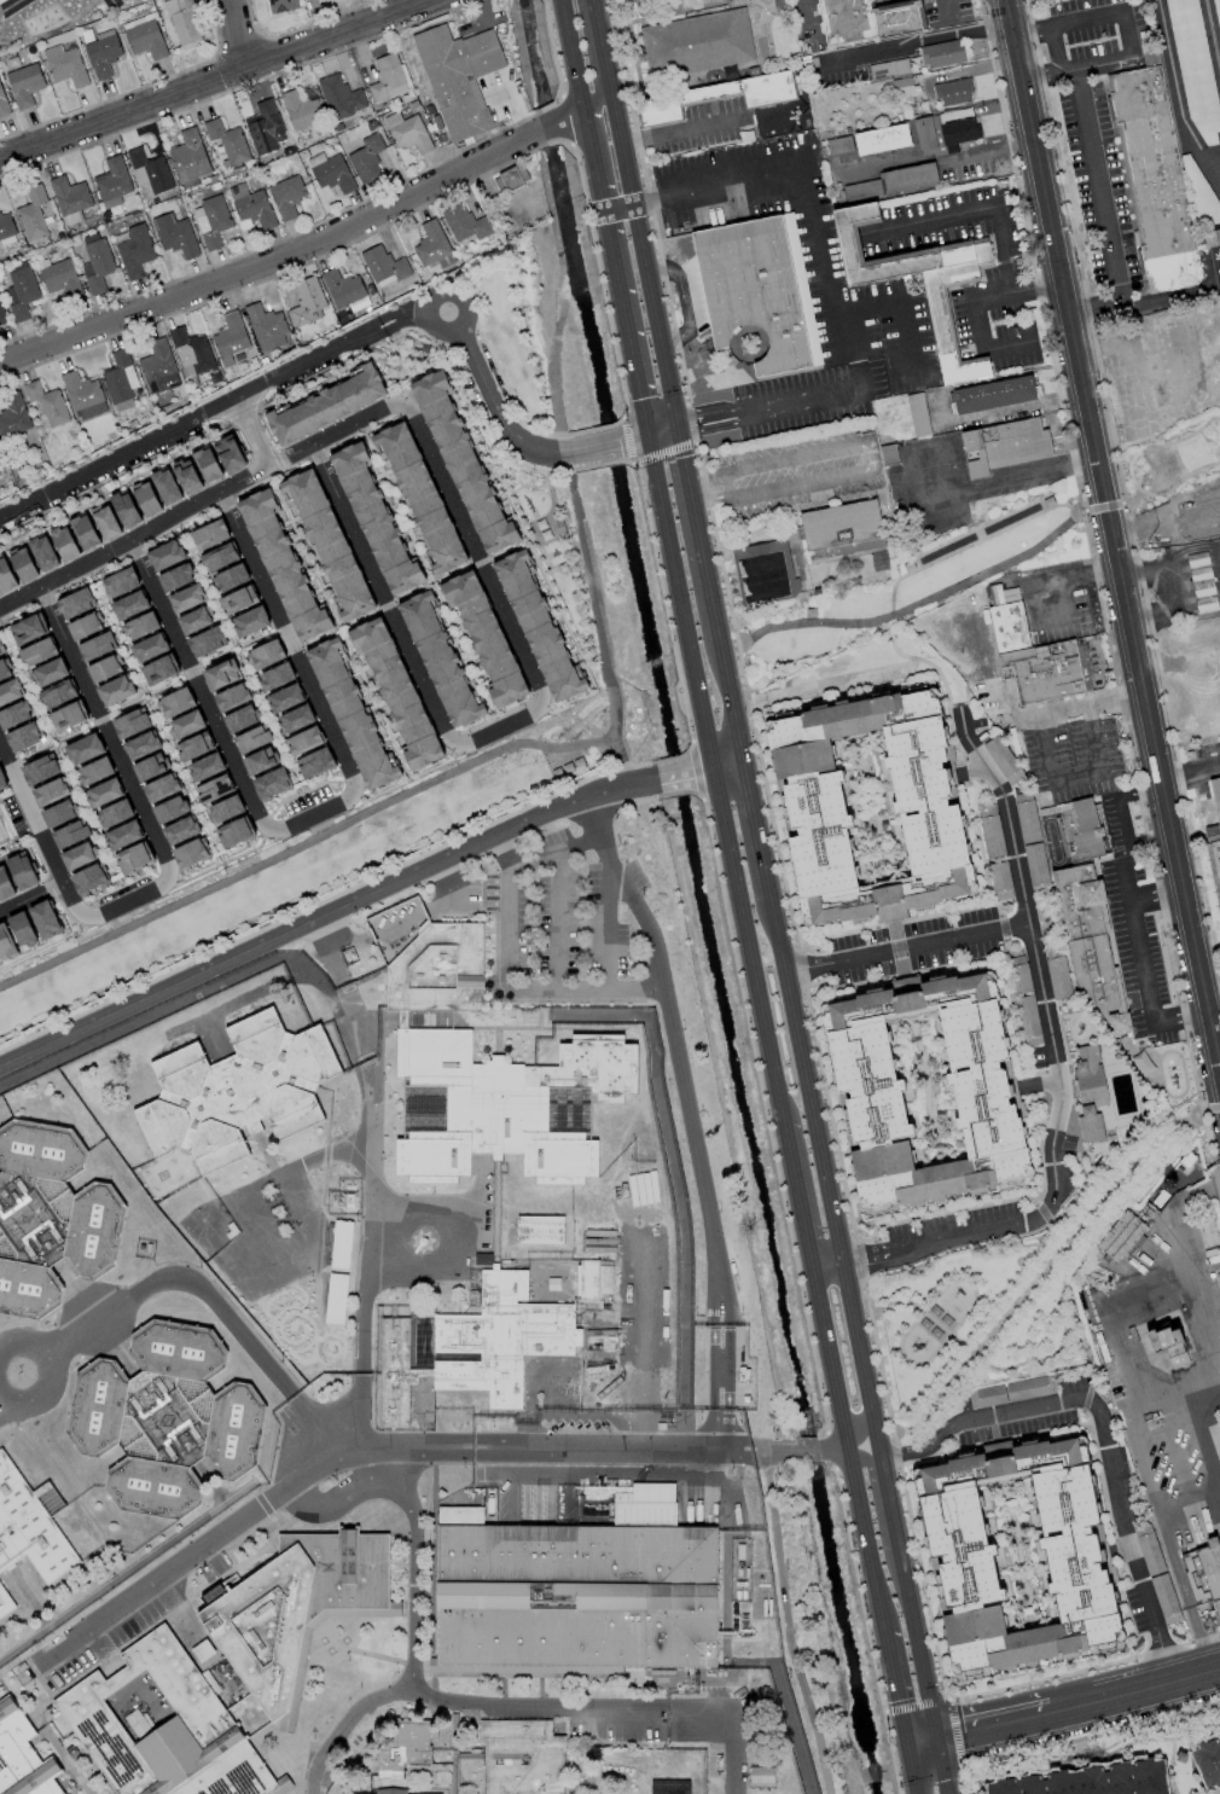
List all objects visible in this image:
road: (6, 4)
road: (112, 5)
building: (280, 6)
road: (383, 8)
road: (951, 8)
building: (1216, 16)
building: (875, 18)
building: (182, 21)
road: (1067, 23)
road: (237, 33)
road: (1128, 34)
building: (144, 36)
road: (1212, 39)
building: (697, 42)
road: (917, 43)
road: (598, 45)
road: (1055, 50)
building: (100, 52)
road: (570, 53)
building: (941, 53)
road: (1096, 64)
building: (64, 65)
building: (888, 69)
building: (1195, 71)
road: (215, 76)
building: (388, 77)
building: (458, 77)
building: (24, 85)
building: (901, 87)
building: (953, 92)
road: (1177, 94)
building: (339, 97)
building: (715, 97)
road: (594, 98)
building: (2, 104)
building: (300, 110)
road: (573, 111)
road: (612, 117)
road: (547, 127)
building: (265, 128)
building: (955, 129)
road: (682, 130)
building: (407, 132)
building: (924, 135)
building: (881, 139)
building: (227, 141)
building: (840, 145)
road: (989, 155)
building: (188, 156)
building: (366, 159)
road: (591, 161)
building: (149, 170)
building: (331, 173)
building: (512, 176)
road: (624, 176)
building: (908, 178)
road: (1098, 181)
building: (112, 182)
building: (1161, 182)
road: (807, 185)
building: (861, 188)
building: (286, 197)
building: (69, 199)
building: (251, 205)
road: (649, 205)
road: (976, 210)
road: (615, 213)
building: (33, 214)
building: (211, 221)
building: (464, 223)
building: (6, 228)
building: (175, 236)
road: (635, 239)
building: (430, 244)
building: (135, 251)
road: (268, 260)
building: (95, 262)
building: (383, 266)
building: (60, 278)
road: (1047, 285)
road: (1062, 286)
building: (21, 290)
building: (344, 290)
building: (759, 290)
road: (1004, 294)
road: (454, 296)
road: (684, 301)
building: (307, 302)
road: (419, 313)
road: (905, 314)
building: (1, 317)
road: (387, 318)
building: (941, 320)
park: (527, 323)
road: (624, 326)
road: (981, 326)
building: (266, 327)
road: (390, 327)
building: (230, 338)
road: (1009, 347)
road: (657, 350)
flagpole: (686, 350)
building: (190, 352)
building: (158, 367)
building: (118, 377)
building: (992, 394)
building: (83, 396)
road: (813, 400)
building: (47, 403)
building: (327, 403)
road: (499, 407)
road: (1024, 407)
road: (705, 413)
building: (917, 414)
building: (13, 417)
road: (184, 420)
road: (709, 428)
road: (258, 430)
traffic signals: (673, 432)
road: (661, 435)
traffic signals: (649, 437)
road: (637, 440)
building: (1004, 446)
road: (598, 447)
building: (230, 453)
building: (888, 454)
road: (871, 455)
building: (461, 461)
park: (1172, 463)
building: (208, 464)
road: (942, 470)
road: (1129, 470)
building: (187, 476)
road: (912, 477)
road: (1007, 482)
building: (165, 487)
building: (419, 495)
building: (146, 498)
road: (202, 507)
building: (126, 510)
building: (1199, 517)
building: (373, 518)
building: (105, 521)
building: (841, 527)
building: (83, 530)
road: (1141, 530)
building: (209, 534)
road: (693, 535)
park: (553, 541)
building: (64, 542)
building: (327, 542)
building: (43, 553)
building: (165, 555)
building: (219, 557)
road: (1169, 558)
building: (23, 564)
building: (283, 568)
road: (454, 571)
building: (765, 571)
building: (6, 576)
building: (176, 577)
building: (231, 577)
road: (429, 577)
road: (1061, 580)
park: (920, 581)
building: (120, 582)
building: (1202, 582)
road: (891, 591)
road: (409, 593)
road: (591, 594)
road: (937, 596)
building: (186, 598)
building: (236, 600)
road: (680, 602)
building: (75, 603)
building: (129, 605)
road: (1174, 614)
road: (365, 617)
building: (194, 621)
building: (250, 621)
building: (85, 626)
building: (140, 626)
road: (338, 626)
building: (539, 628)
building: (27, 629)
road: (257, 637)
building: (484, 638)
road: (316, 640)
building: (205, 643)
building: (97, 646)
building: (149, 648)
building: (1, 650)
building: (37, 652)
building: (265, 655)
road: (213, 657)
road: (238, 657)
building: (440, 660)
building: (104, 668)
building: (4, 670)
building: (159, 670)
building: (1041, 670)
building: (48, 672)
building: (220, 675)
building: (275, 677)
road: (169, 685)
building: (10, 691)
building: (115, 691)
building: (396, 692)
building: (57, 695)
road: (995, 696)
building: (232, 697)
building: (284, 698)
road: (727, 701)
building: (175, 702)
road: (1079, 706)
road: (123, 707)
road: (153, 714)
building: (14, 715)
building: (352, 716)
building: (66, 718)
building: (239, 719)
building: (295, 719)
building: (130, 724)
building: (186, 724)
road: (500, 727)
road: (77, 731)
building: (23, 737)
building: (251, 739)
building: (303, 741)
building: (141, 745)
building: (191, 748)
building: (83, 749)
road: (30, 753)
building: (1003, 760)
building: (260, 761)
building: (314, 762)
road: (63, 764)
road: (727, 765)
building: (205, 767)
building: (147, 768)
road: (707, 768)
building: (39, 770)
road: (1190, 770)
building: (94, 771)
road: (678, 774)
road: (1075, 777)
road: (408, 779)
building: (2, 783)
building: (272, 783)
building: (161, 788)
building: (214, 789)
building: (50, 793)
building: (103, 793)
road: (301, 793)
building: (870, 807)
building: (170, 809)
building: (225, 809)
building: (114, 813)
building: (58, 814)
road: (315, 818)
road: (1167, 818)
building: (180, 830)
building: (990, 830)
road: (754, 831)
building: (233, 832)
building: (70, 834)
building: (123, 835)
road: (316, 836)
building: (1214, 837)
building: (1030, 841)
road: (553, 852)
building: (190, 853)
building: (77, 857)
building: (133, 858)
road: (222, 861)
road: (223, 865)
road: (238, 865)
park: (307, 867)
building: (22, 871)
road: (168, 872)
building: (88, 878)
building: (1000, 881)
building: (5, 884)
road: (1154, 890)
road: (30, 899)
road: (309, 906)
road: (1131, 913)
road: (326, 916)
building: (1087, 916)
building: (43, 919)
road: (554, 919)
road: (605, 919)
parking lot: (396, 927)
building: (22, 929)
road: (74, 934)
road: (91, 934)
road: (350, 941)
building: (5, 942)
road: (750, 945)
road: (41, 947)
road: (905, 947)
building: (1019, 974)
building: (1057, 974)
road: (505, 987)
road: (1212, 992)
road: (1047, 1020)
building: (1028, 1021)
road: (1218, 1044)
road: (673, 1055)
building: (487, 1075)
building: (1090, 1076)
road: (802, 1080)
building: (925, 1091)
building: (237, 1092)
building: (1090, 1125)
road: (371, 1180)
road: (801, 1195)
road: (255, 1210)
building: (50, 1217)
building: (539, 1230)
flagpole: (420, 1242)
road: (901, 1248)
road: (862, 1256)
road: (1050, 1262)
road: (827, 1265)
road: (862, 1285)
park: (1015, 1291)
road: (213, 1305)
road: (1109, 1324)
road: (953, 1331)
road: (854, 1335)
building: (1162, 1339)
building: (480, 1341)
road: (1087, 1355)
road: (832, 1358)
road: (1032, 1362)
road: (56, 1369)
road: (1061, 1369)
road: (881, 1374)
road: (720, 1387)
building: (1011, 1392)
road: (1177, 1404)
road: (4, 1409)
building: (165, 1418)
road: (1212, 1421)
road: (860, 1428)
road: (1100, 1430)
road: (875, 1440)
road: (994, 1440)
road: (801, 1448)
road: (365, 1450)
road: (1178, 1455)
road: (868, 1458)
road: (1190, 1500)
road: (889, 1510)
building: (30, 1525)
road: (1115, 1538)
road: (868, 1539)
building: (1016, 1554)
building: (1203, 1574)
road: (103, 1587)
building: (575, 1591)
building: (5, 1603)
building: (296, 1609)
road: (1202, 1639)
road: (411, 1648)
road: (920, 1671)
road: (897, 1689)
road: (952, 1700)
road: (914, 1703)
road: (606, 1706)
road: (1064, 1712)
road: (953, 1731)
traffic signals: (936, 1743)
traffic signals: (910, 1748)
building: (23, 1757)
building: (521, 1758)
building: (1208, 1761)
road: (913, 1771)
building: (1090, 1781)
building: (403, 1793)

